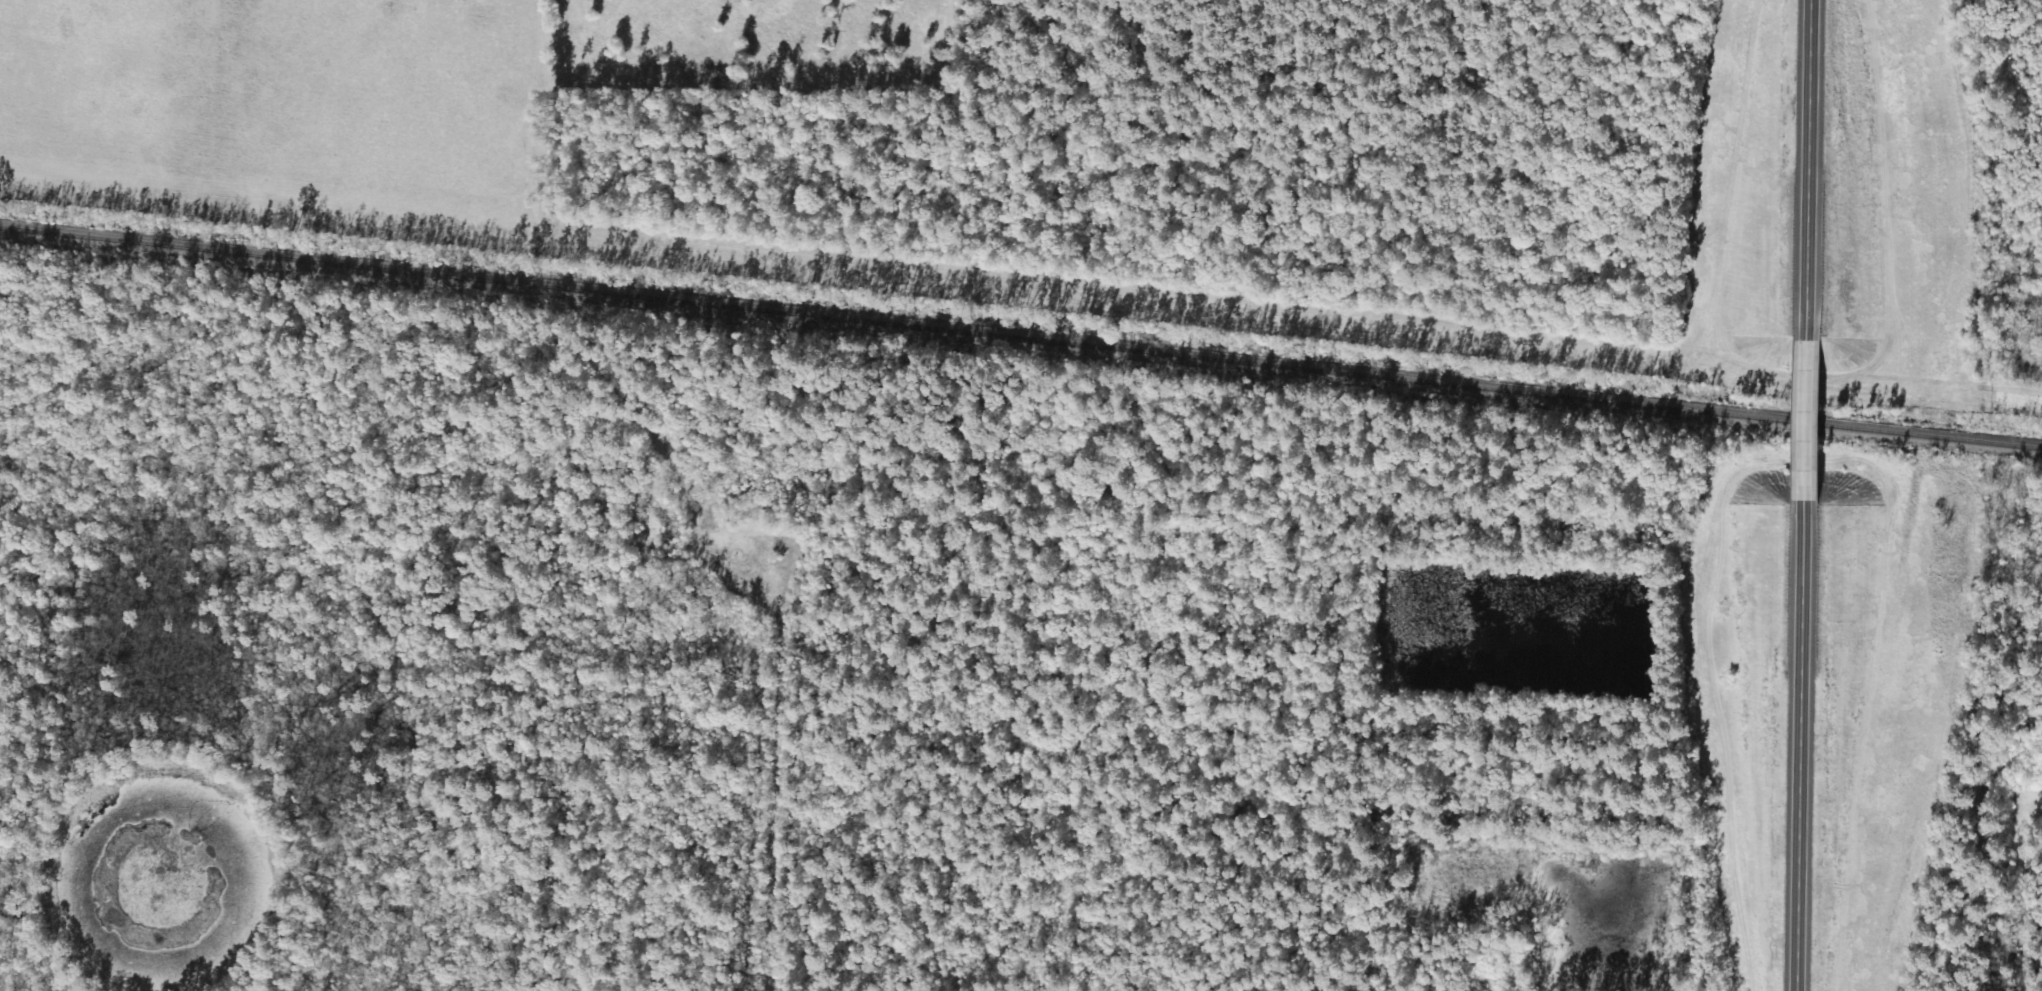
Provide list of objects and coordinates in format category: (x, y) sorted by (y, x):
road: (1811, 169)
railway: (1020, 338)
road: (1807, 421)
road: (1802, 748)
road: (1996, 781)
road: (748, 813)

